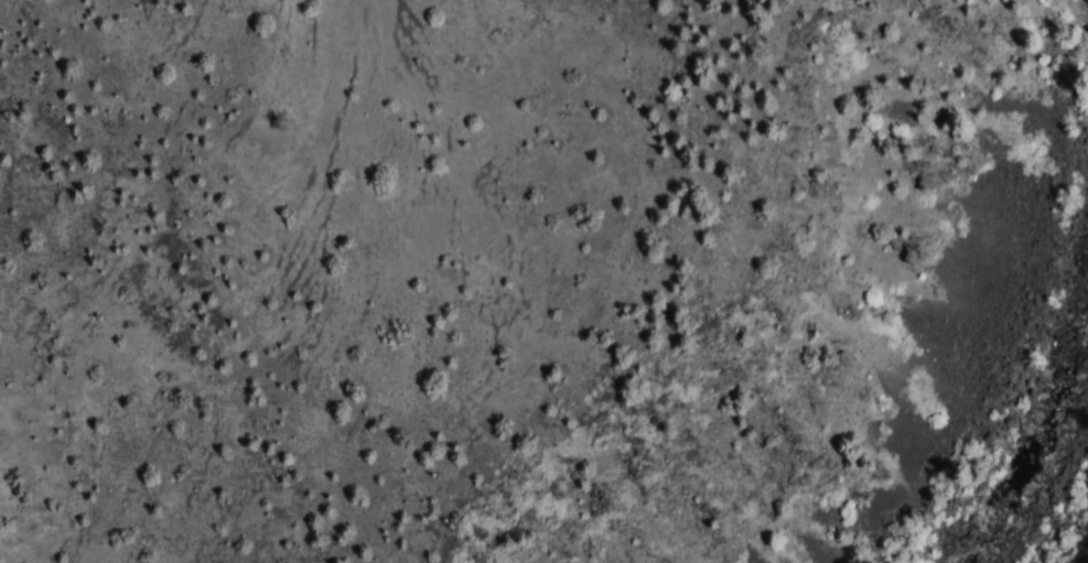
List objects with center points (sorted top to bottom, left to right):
river: (1043, 470)

